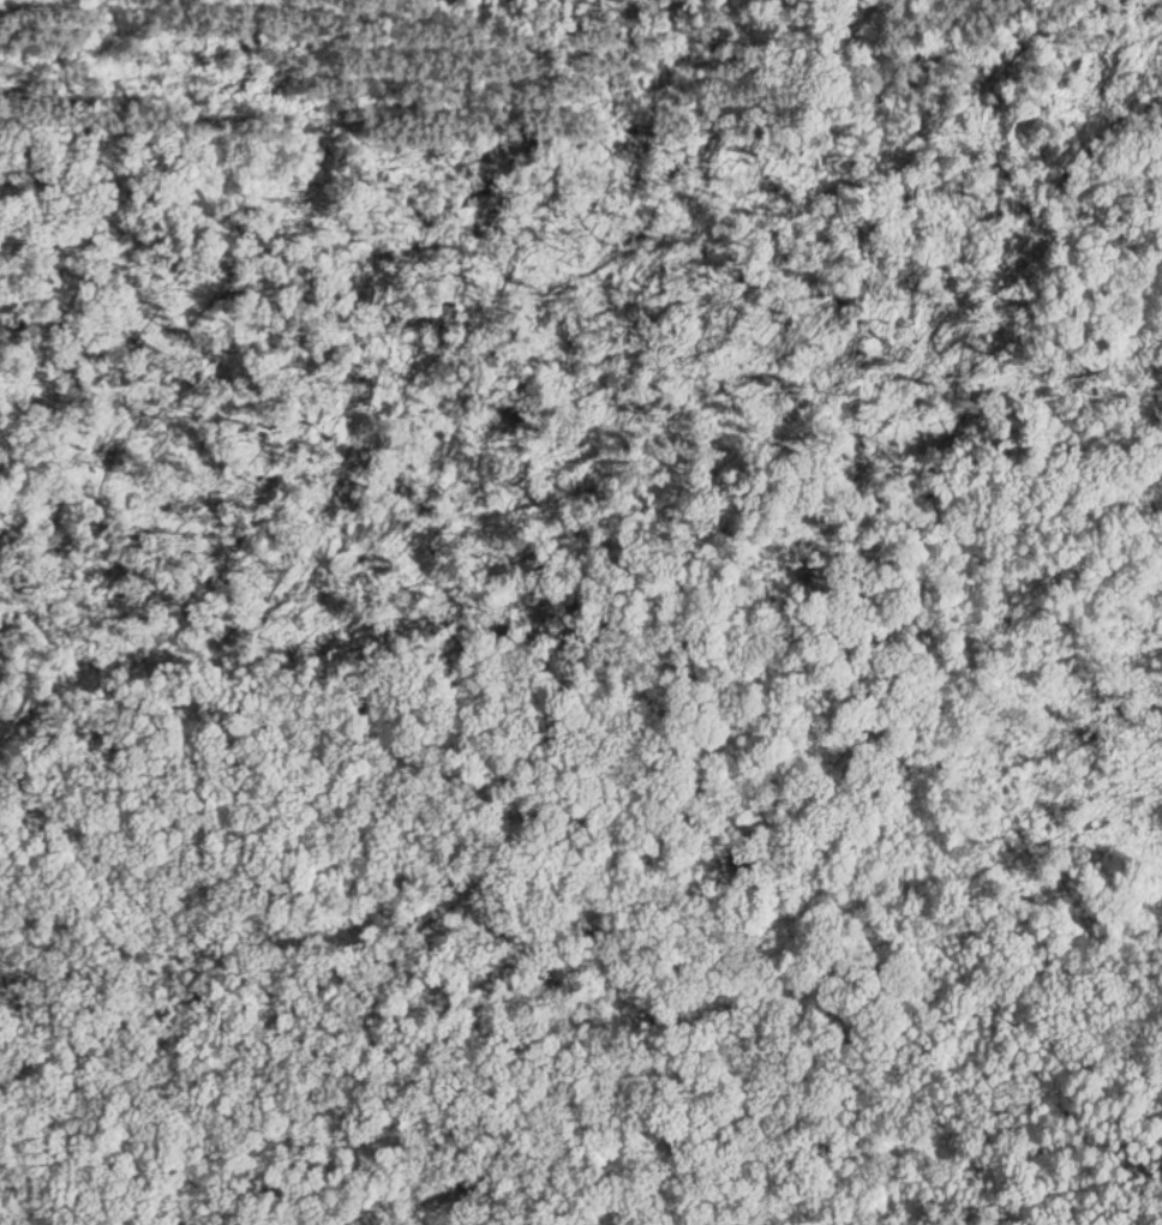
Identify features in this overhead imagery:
road: (786, 614)

